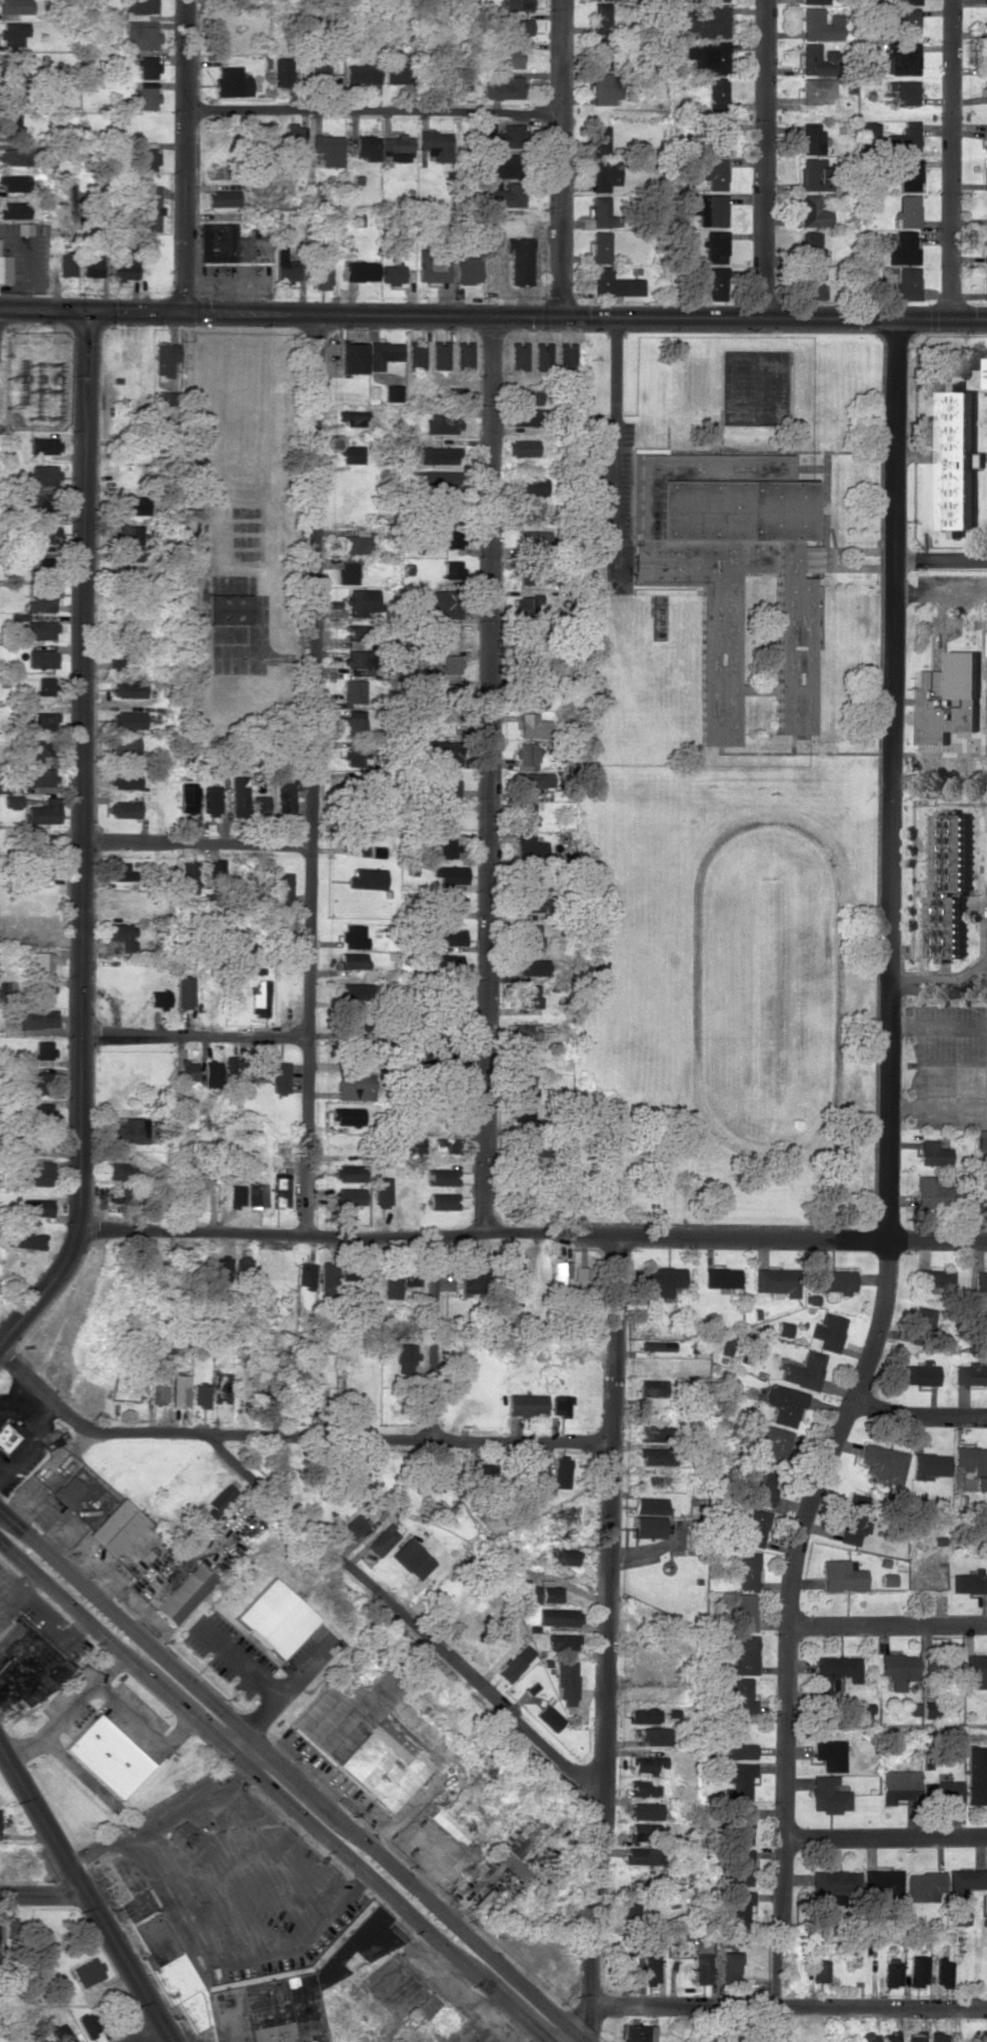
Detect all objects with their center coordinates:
building: (716, 0)
building: (812, 1)
building: (909, 2)
building: (985, 2)
building: (517, 4)
building: (14, 6)
building: (138, 9)
building: (602, 17)
building: (907, 20)
building: (707, 21)
building: (819, 25)
building: (986, 25)
building: (517, 27)
building: (12, 33)
building: (140, 35)
building: (601, 53)
building: (513, 57)
building: (707, 58)
building: (900, 58)
building: (985, 58)
building: (812, 60)
building: (146, 67)
building: (319, 67)
building: (397, 68)
building: (283, 72)
building: (362, 74)
building: (231, 82)
building: (504, 88)
building: (605, 88)
building: (815, 89)
building: (985, 90)
building: (903, 91)
building: (716, 93)
building: (13, 94)
building: (146, 98)
road: (373, 112)
building: (10, 123)
building: (868, 128)
building: (507, 136)
building: (292, 137)
building: (811, 138)
building: (903, 138)
building: (602, 141)
building: (986, 142)
building: (435, 145)
building: (367, 147)
building: (395, 147)
building: (328, 149)
building: (14, 156)
building: (144, 157)
road: (184, 157)
road: (561, 158)
road: (767, 159)
road: (950, 160)
building: (499, 165)
building: (713, 172)
building: (812, 174)
building: (908, 174)
building: (985, 174)
building: (605, 175)
building: (13, 183)
building: (502, 194)
building: (222, 198)
building: (150, 208)
building: (710, 209)
building: (14, 210)
building: (907, 211)
building: (813, 212)
building: (603, 213)
building: (985, 221)
building: (23, 228)
building: (230, 245)
building: (810, 246)
building: (600, 247)
building: (715, 247)
building: (985, 247)
building: (902, 249)
building: (121, 259)
building: (519, 261)
building: (66, 265)
building: (433, 265)
building: (91, 266)
building: (285, 266)
building: (5, 268)
building: (362, 270)
building: (468, 270)
building: (392, 273)
building: (321, 276)
building: (715, 283)
building: (812, 283)
building: (907, 283)
building: (985, 283)
building: (614, 284)
road: (40, 313)
traffic signals: (80, 313)
road: (487, 316)
road: (941, 319)
building: (382, 353)
building: (415, 355)
building: (439, 355)
building: (463, 355)
building: (517, 356)
building: (541, 356)
building: (565, 356)
building: (165, 357)
building: (352, 358)
power substation: (38, 378)
building: (392, 393)
building: (447, 396)
building: (524, 396)
building: (350, 417)
building: (523, 417)
building: (441, 424)
road: (614, 433)
building: (43, 445)
building: (521, 448)
building: (350, 454)
building: (436, 455)
building: (958, 460)
building: (43, 475)
building: (435, 479)
building: (532, 486)
building: (46, 501)
building: (131, 505)
building: (450, 537)
building: (127, 542)
building: (356, 542)
building: (534, 543)
road: (940, 563)
building: (44, 568)
building: (734, 568)
building: (450, 569)
building: (346, 572)
building: (527, 573)
road: (940, 590)
building: (42, 600)
building: (359, 601)
building: (526, 605)
building: (227, 609)
building: (41, 630)
building: (352, 633)
building: (526, 636)
building: (124, 657)
building: (44, 658)
building: (353, 658)
building: (525, 665)
building: (449, 666)
building: (46, 686)
building: (128, 688)
building: (353, 691)
building: (531, 696)
building: (950, 699)
building: (128, 719)
building: (45, 720)
building: (350, 723)
building: (532, 725)
building: (123, 743)
building: (38, 748)
building: (439, 752)
building: (527, 754)
road: (311, 774)
road: (491, 776)
building: (37, 777)
road: (892, 779)
building: (124, 780)
building: (532, 782)
building: (448, 784)
building: (237, 796)
building: (283, 796)
building: (186, 797)
building: (210, 799)
building: (258, 803)
building: (12, 809)
building: (124, 809)
building: (45, 812)
building: (524, 813)
road: (77, 835)
building: (38, 843)
road: (193, 843)
building: (446, 846)
building: (528, 846)
building: (216, 868)
building: (38, 869)
building: (120, 872)
building: (449, 874)
building: (187, 876)
building: (366, 878)
building: (949, 885)
building: (282, 897)
building: (454, 902)
building: (534, 902)
building: (121, 935)
building: (530, 935)
building: (353, 936)
building: (450, 937)
building: (352, 960)
building: (42, 961)
building: (532, 967)
road: (938, 987)
building: (43, 988)
building: (351, 990)
building: (185, 992)
building: (528, 995)
building: (159, 999)
building: (260, 999)
building: (35, 1018)
building: (522, 1031)
road: (194, 1035)
building: (44, 1049)
building: (353, 1058)
building: (187, 1070)
building: (211, 1073)
building: (280, 1077)
building: (36, 1082)
building: (355, 1086)
building: (524, 1087)
building: (44, 1112)
building: (347, 1116)
building: (524, 1117)
building: (132, 1131)
building: (38, 1140)
building: (982, 1140)
building: (448, 1145)
building: (414, 1146)
building: (934, 1153)
building: (121, 1170)
building: (41, 1173)
building: (351, 1173)
building: (443, 1176)
building: (186, 1189)
building: (280, 1191)
building: (382, 1192)
building: (931, 1192)
building: (116, 1194)
building: (236, 1195)
building: (256, 1195)
building: (350, 1196)
building: (442, 1201)
building: (36, 1207)
road: (479, 1236)
building: (24, 1239)
road: (937, 1240)
building: (244, 1266)
building: (222, 1268)
building: (328, 1273)
building: (305, 1274)
building: (469, 1276)
building: (560, 1276)
building: (515, 1277)
building: (722, 1277)
building: (937, 1277)
building: (410, 1279)
building: (581, 1279)
building: (664, 1279)
building: (833, 1280)
building: (980, 1281)
building: (776, 1282)
building: (986, 1309)
building: (923, 1322)
building: (828, 1331)
road: (435, 1338)
building: (657, 1345)
building: (405, 1358)
building: (804, 1370)
building: (919, 1373)
building: (971, 1373)
building: (158, 1386)
building: (221, 1386)
building: (653, 1387)
building: (179, 1390)
building: (200, 1395)
building: (304, 1400)
building: (261, 1404)
building: (527, 1404)
building: (784, 1404)
building: (560, 1405)
road: (920, 1416)
building: (657, 1433)
road: (292, 1436)
building: (6, 1437)
building: (769, 1445)
building: (657, 1456)
building: (882, 1462)
building: (973, 1464)
building: (929, 1465)
building: (484, 1473)
building: (445, 1475)
building: (559, 1475)
building: (760, 1486)
building: (68, 1491)
building: (220, 1501)
building: (650, 1505)
building: (854, 1520)
building: (354, 1526)
building: (649, 1526)
building: (116, 1527)
building: (756, 1527)
building: (383, 1540)
building: (565, 1555)
building: (412, 1558)
building: (749, 1570)
building: (843, 1575)
building: (889, 1579)
building: (970, 1582)
building: (184, 1594)
building: (547, 1594)
building: (746, 1612)
building: (560, 1617)
road: (404, 1618)
building: (274, 1619)
road: (889, 1625)
road: (791, 1632)
road: (607, 1639)
building: (564, 1642)
building: (747, 1655)
building: (516, 1662)
building: (27, 1666)
building: (839, 1667)
building: (942, 1668)
building: (900, 1669)
building: (977, 1670)
building: (567, 1679)
building: (744, 1696)
building: (645, 1714)
building: (549, 1717)
building: (657, 1736)
building: (361, 1739)
building: (732, 1744)
road: (293, 1754)
building: (831, 1754)
building: (107, 1756)
building: (648, 1764)
road: (313, 1773)
building: (976, 1775)
road: (290, 1776)
building: (737, 1780)
building: (899, 1785)
building: (644, 1787)
road: (274, 1790)
building: (943, 1792)
building: (829, 1795)
road: (348, 1804)
road: (408, 1805)
building: (646, 1811)
road: (40, 1824)
building: (742, 1824)
building: (448, 1826)
building: (645, 1832)
building: (518, 1836)
road: (886, 1836)
building: (183, 1837)
building: (641, 1856)
road: (444, 1860)
building: (515, 1867)
building: (741, 1867)
building: (835, 1882)
building: (885, 1882)
building: (964, 1882)
building: (924, 1886)
road: (469, 1892)
road: (40, 1895)
building: (137, 1906)
building: (741, 1907)
building: (630, 1912)
building: (958, 1916)
building: (702, 1958)
building: (729, 1966)
road: (122, 1967)
building: (88, 1971)
building: (917, 1971)
building: (753, 1972)
building: (819, 1972)
building: (892, 1972)
building: (942, 1973)
building: (259, 1982)
road: (787, 2003)
building: (423, 2009)
traffic signals: (588, 2022)
building: (88, 2024)
building: (637, 2033)
road: (143, 2034)
building: (889, 2036)
building: (27, 2037)
building: (867, 2037)
building: (914, 2037)

